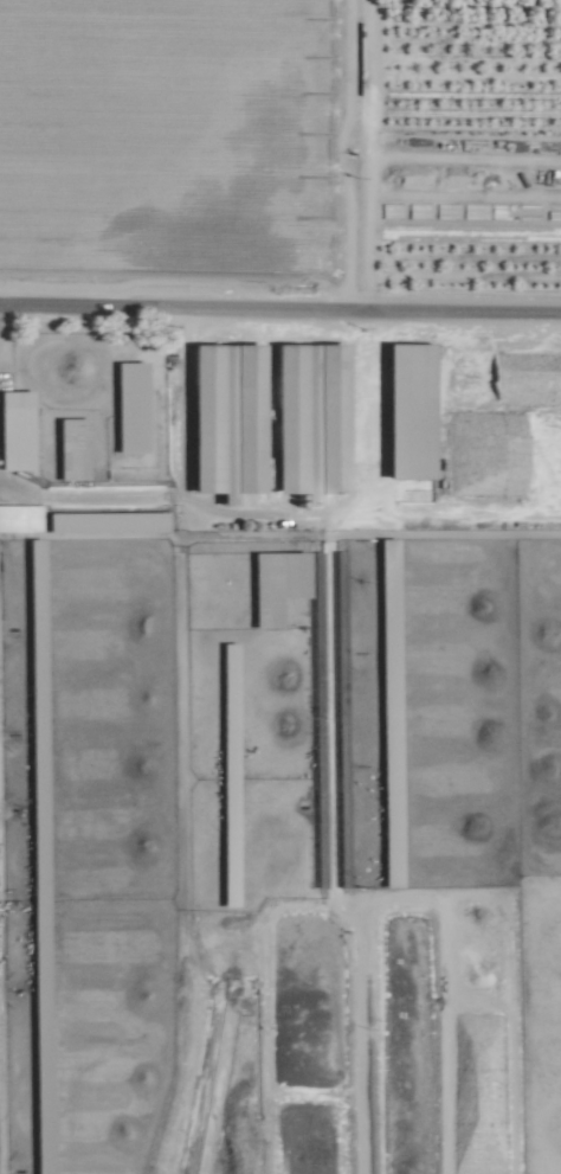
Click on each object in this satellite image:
crop: (463, 155)
road: (280, 312)
building: (223, 377)
building: (15, 430)
building: (72, 444)
building: (19, 518)
building: (280, 571)
crop: (280, 586)
crop: (279, 737)

